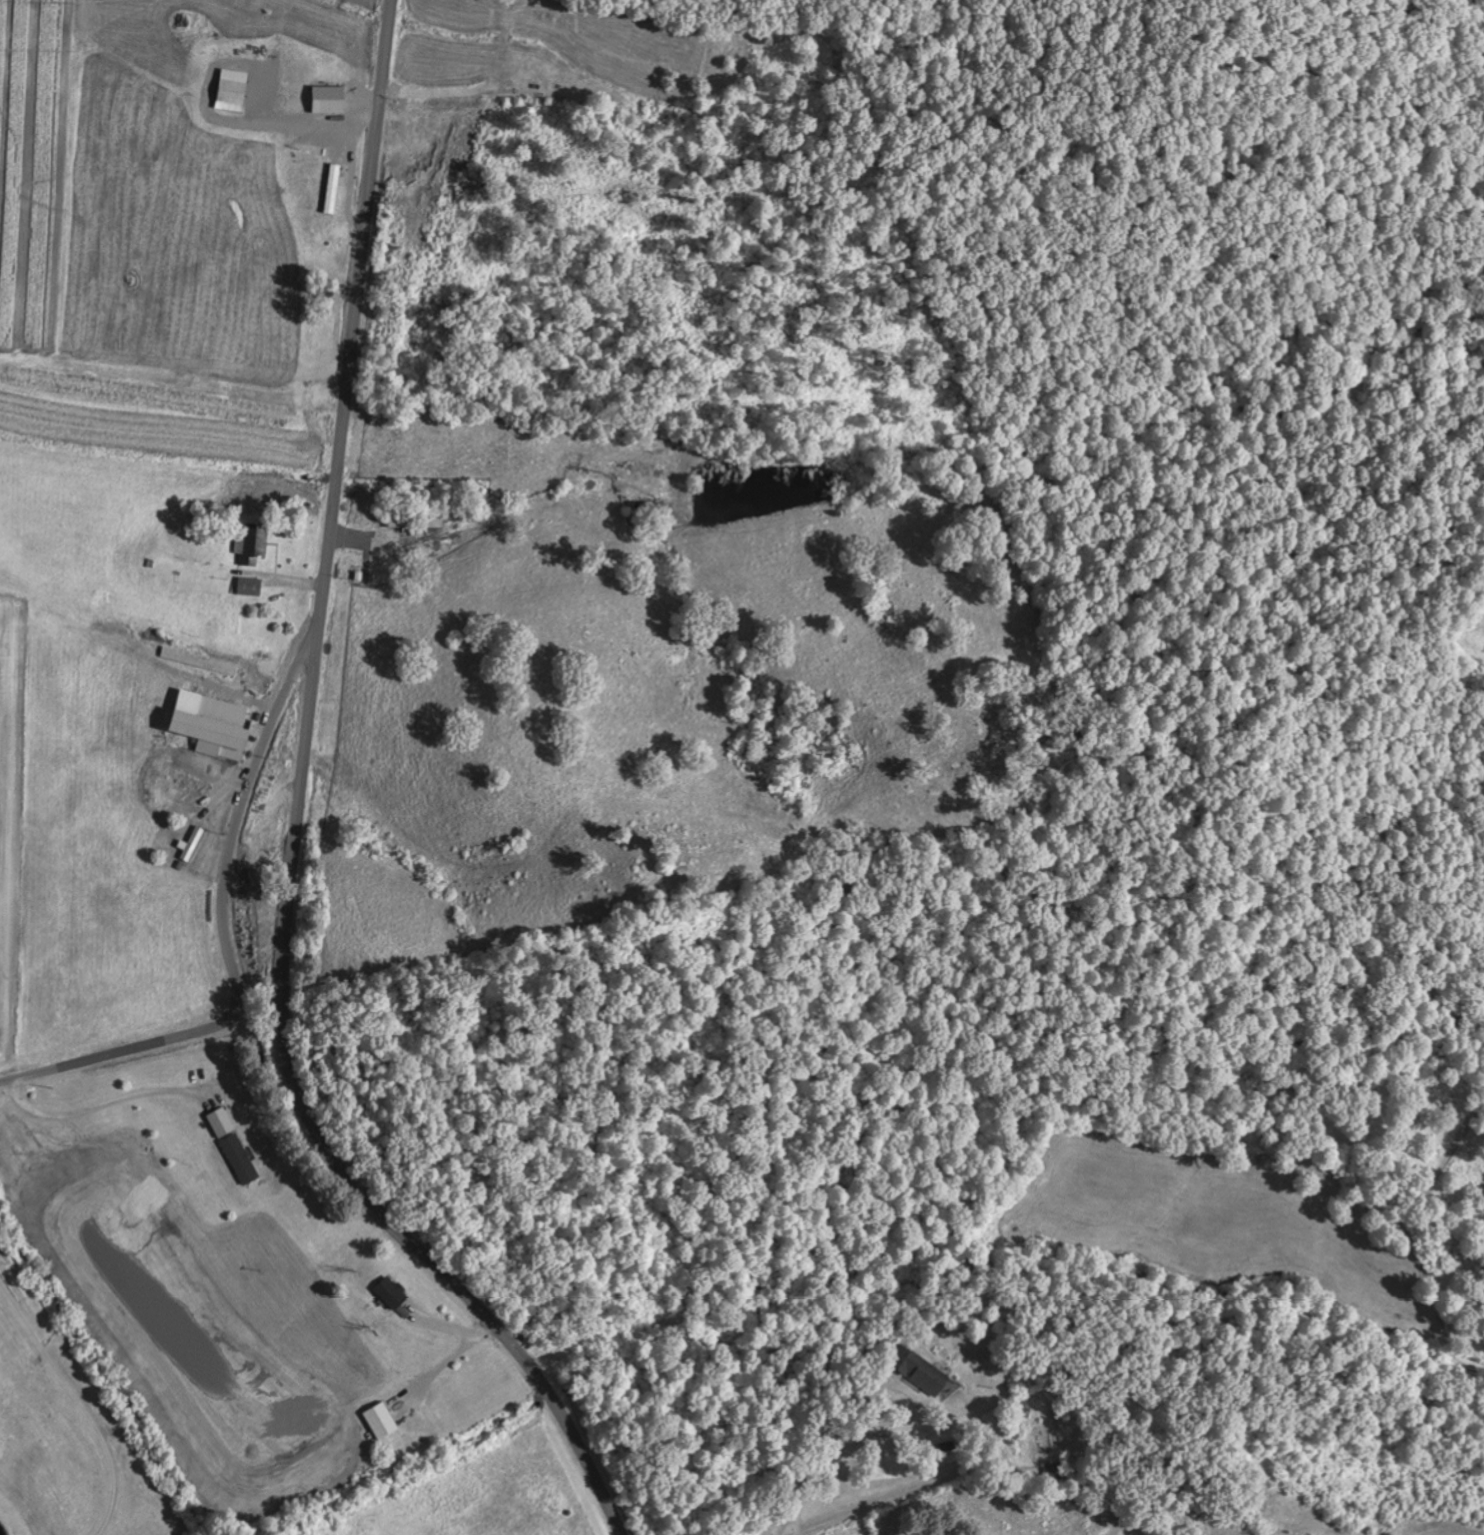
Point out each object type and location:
building: (235, 90)
building: (332, 98)
building: (418, 522)
building: (254, 544)
building: (251, 587)
building: (201, 661)
building: (215, 725)
road: (299, 821)
building: (192, 845)
road: (225, 932)
road: (894, 967)
road: (269, 1082)
building: (235, 1145)
road: (876, 1178)
building: (393, 1290)
building: (923, 1370)
building: (384, 1420)

